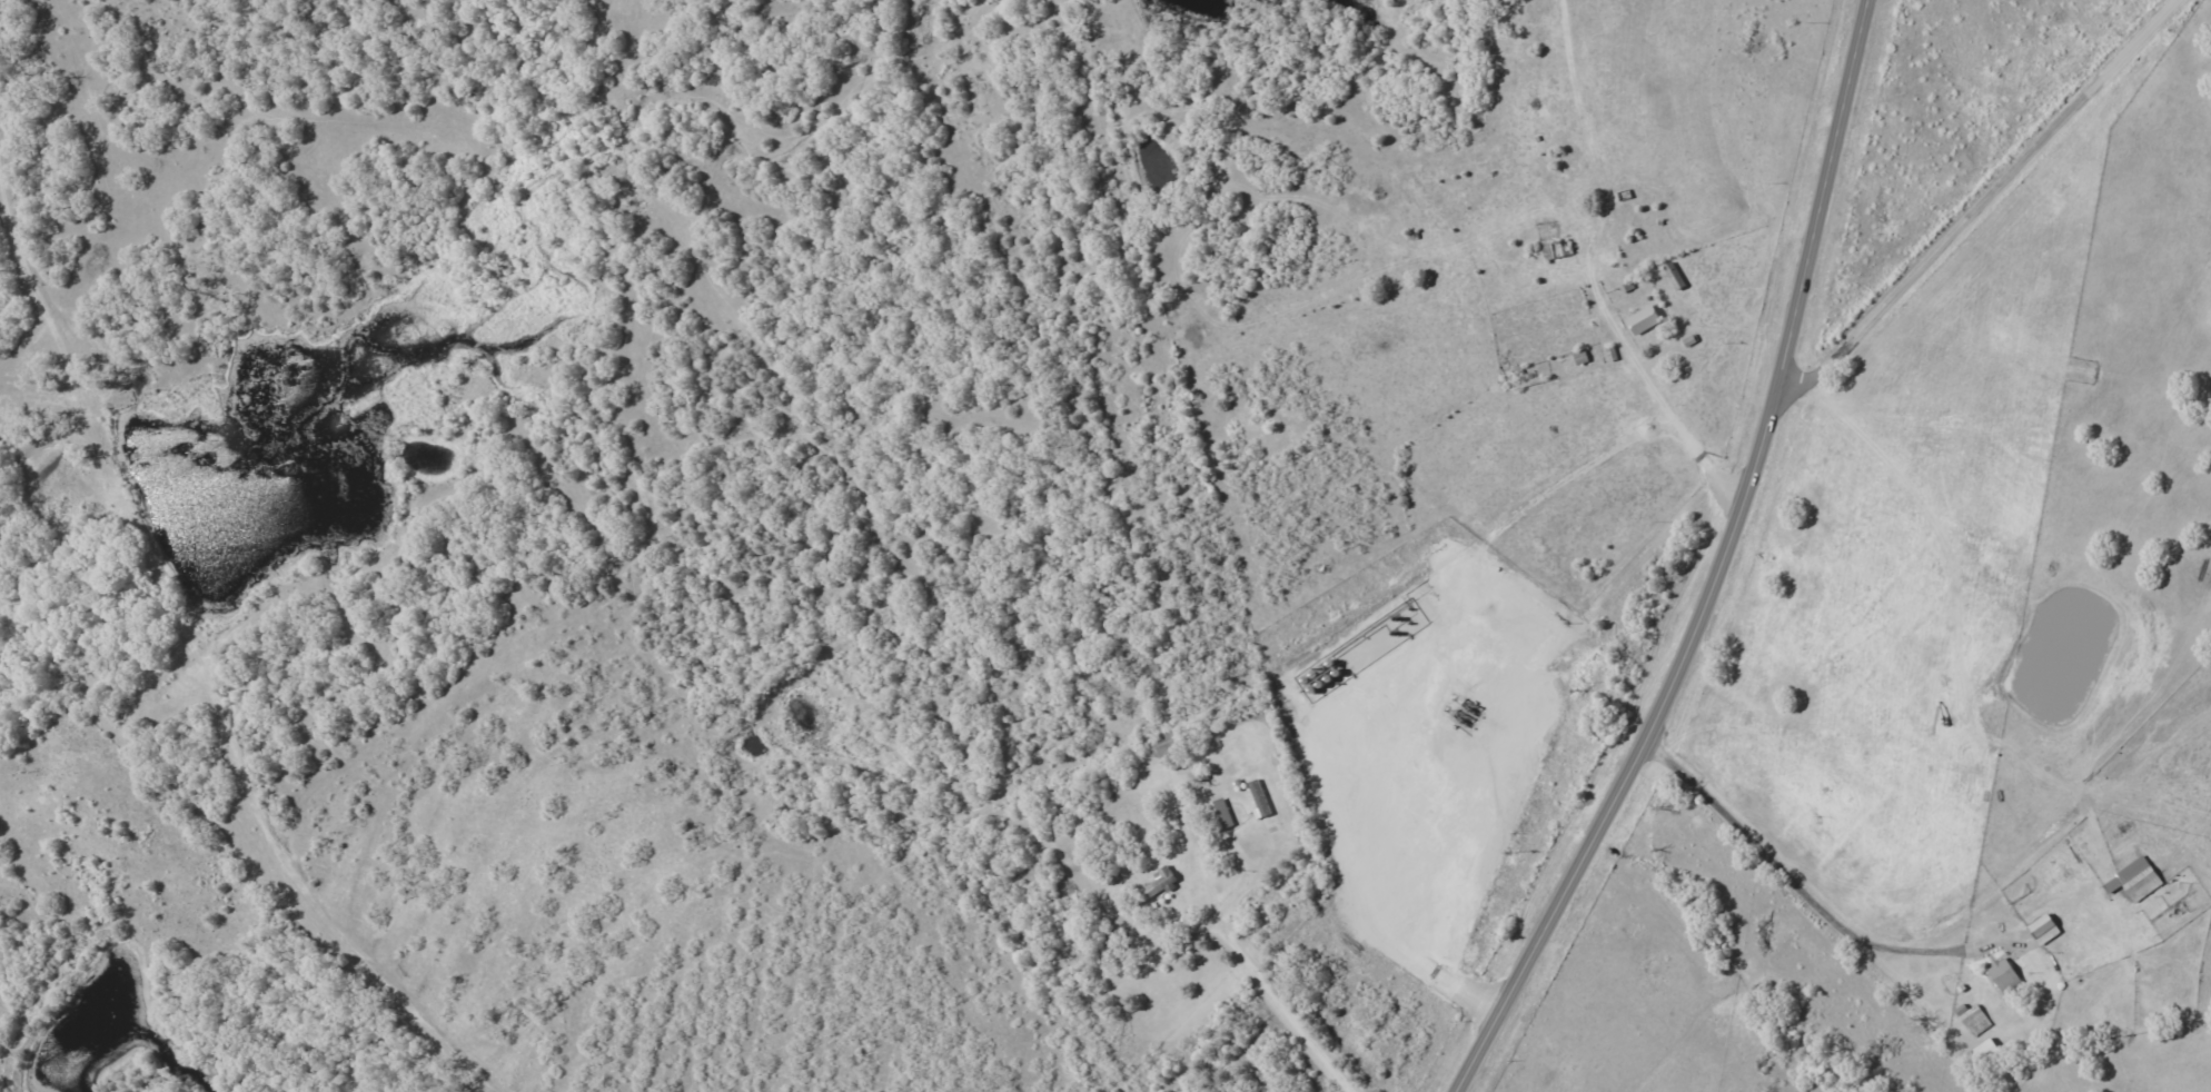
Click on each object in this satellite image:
road: (1969, 192)
building: (1643, 320)
road: (1721, 567)
building: (1218, 815)
building: (1162, 878)
building: (2134, 881)
building: (2043, 930)
building: (2003, 975)
building: (1972, 1019)

